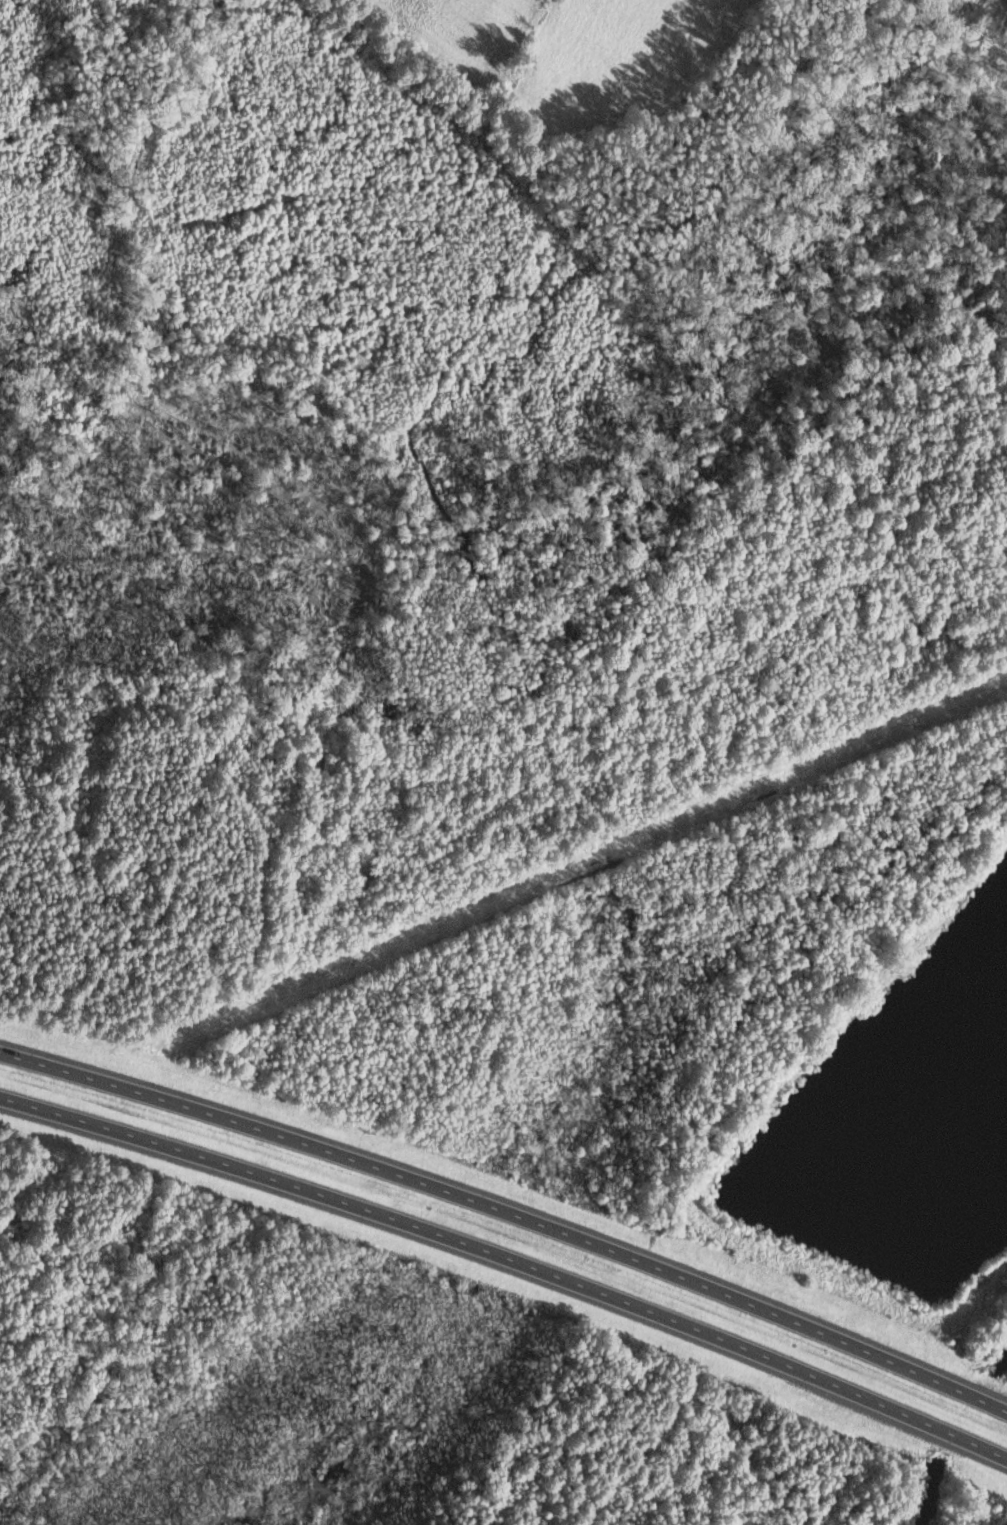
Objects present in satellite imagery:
road: (510, 1211)
road: (510, 1258)

